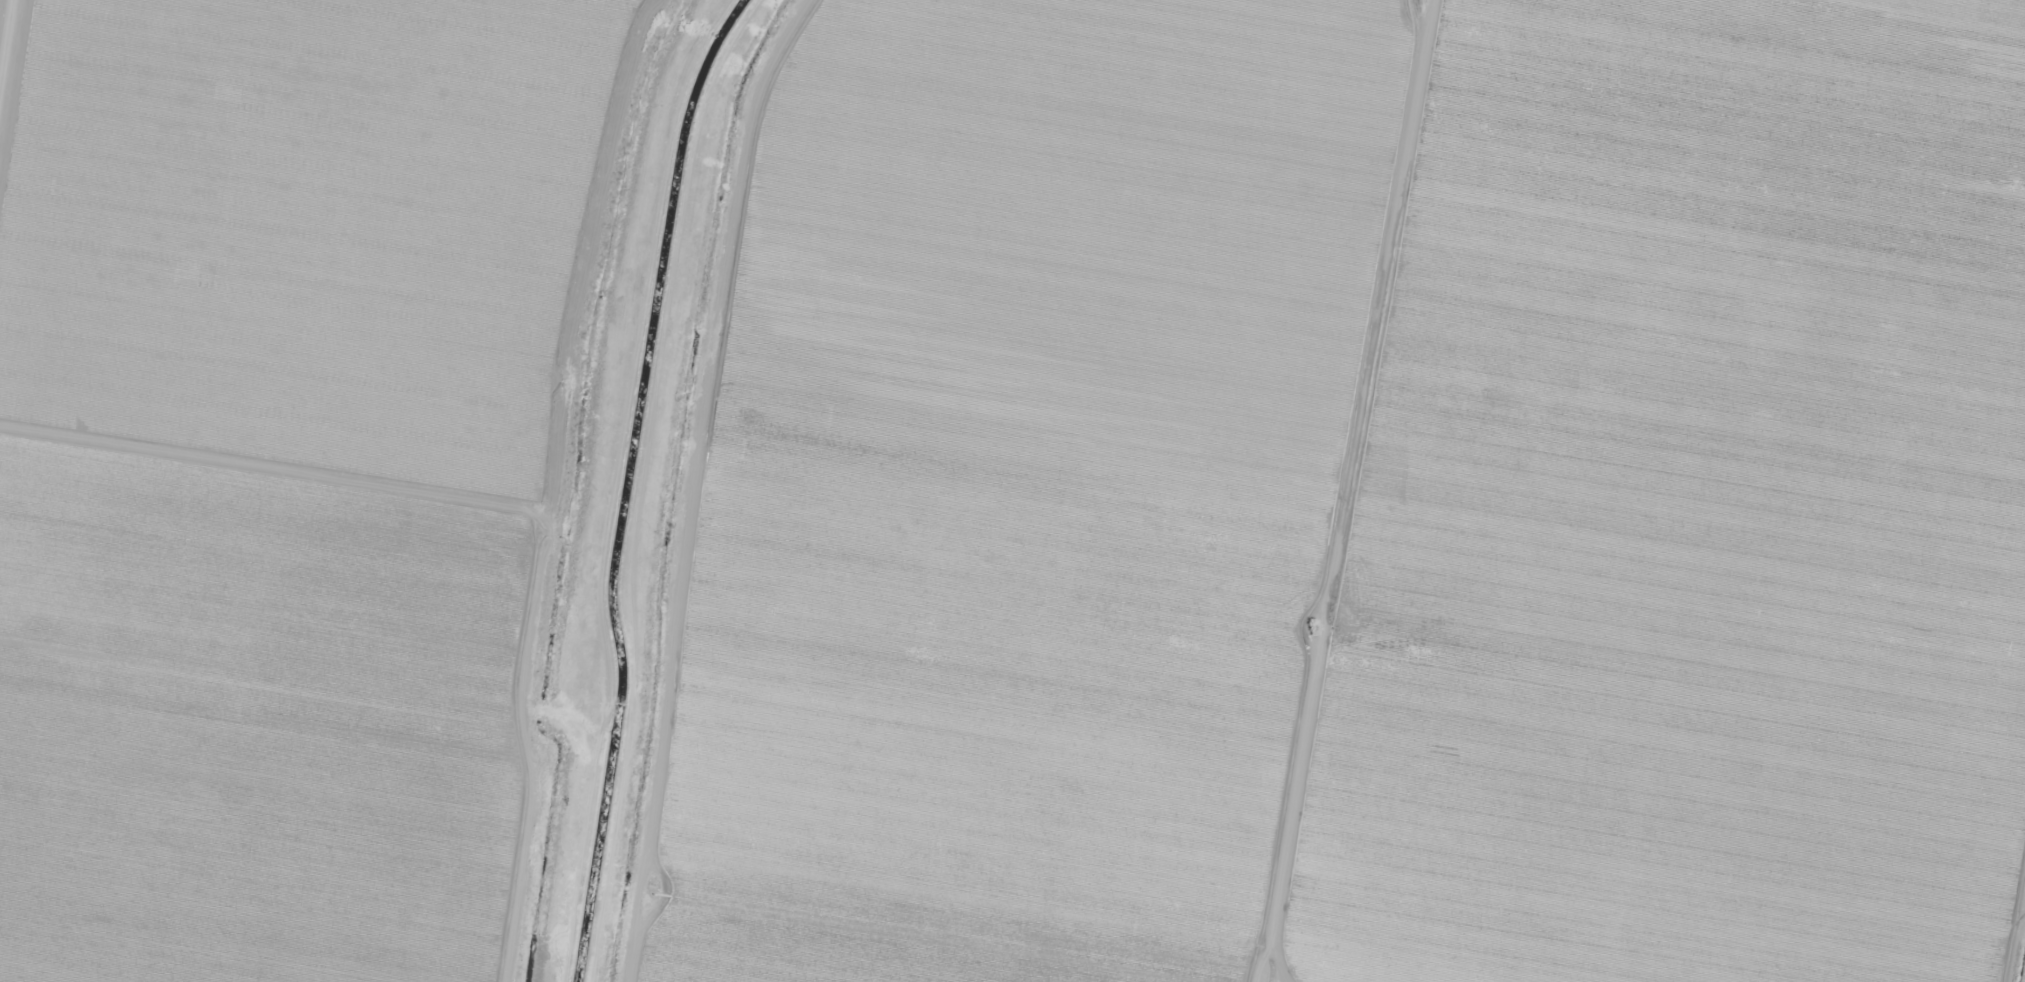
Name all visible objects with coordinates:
road: (19, 124)
road: (678, 483)

